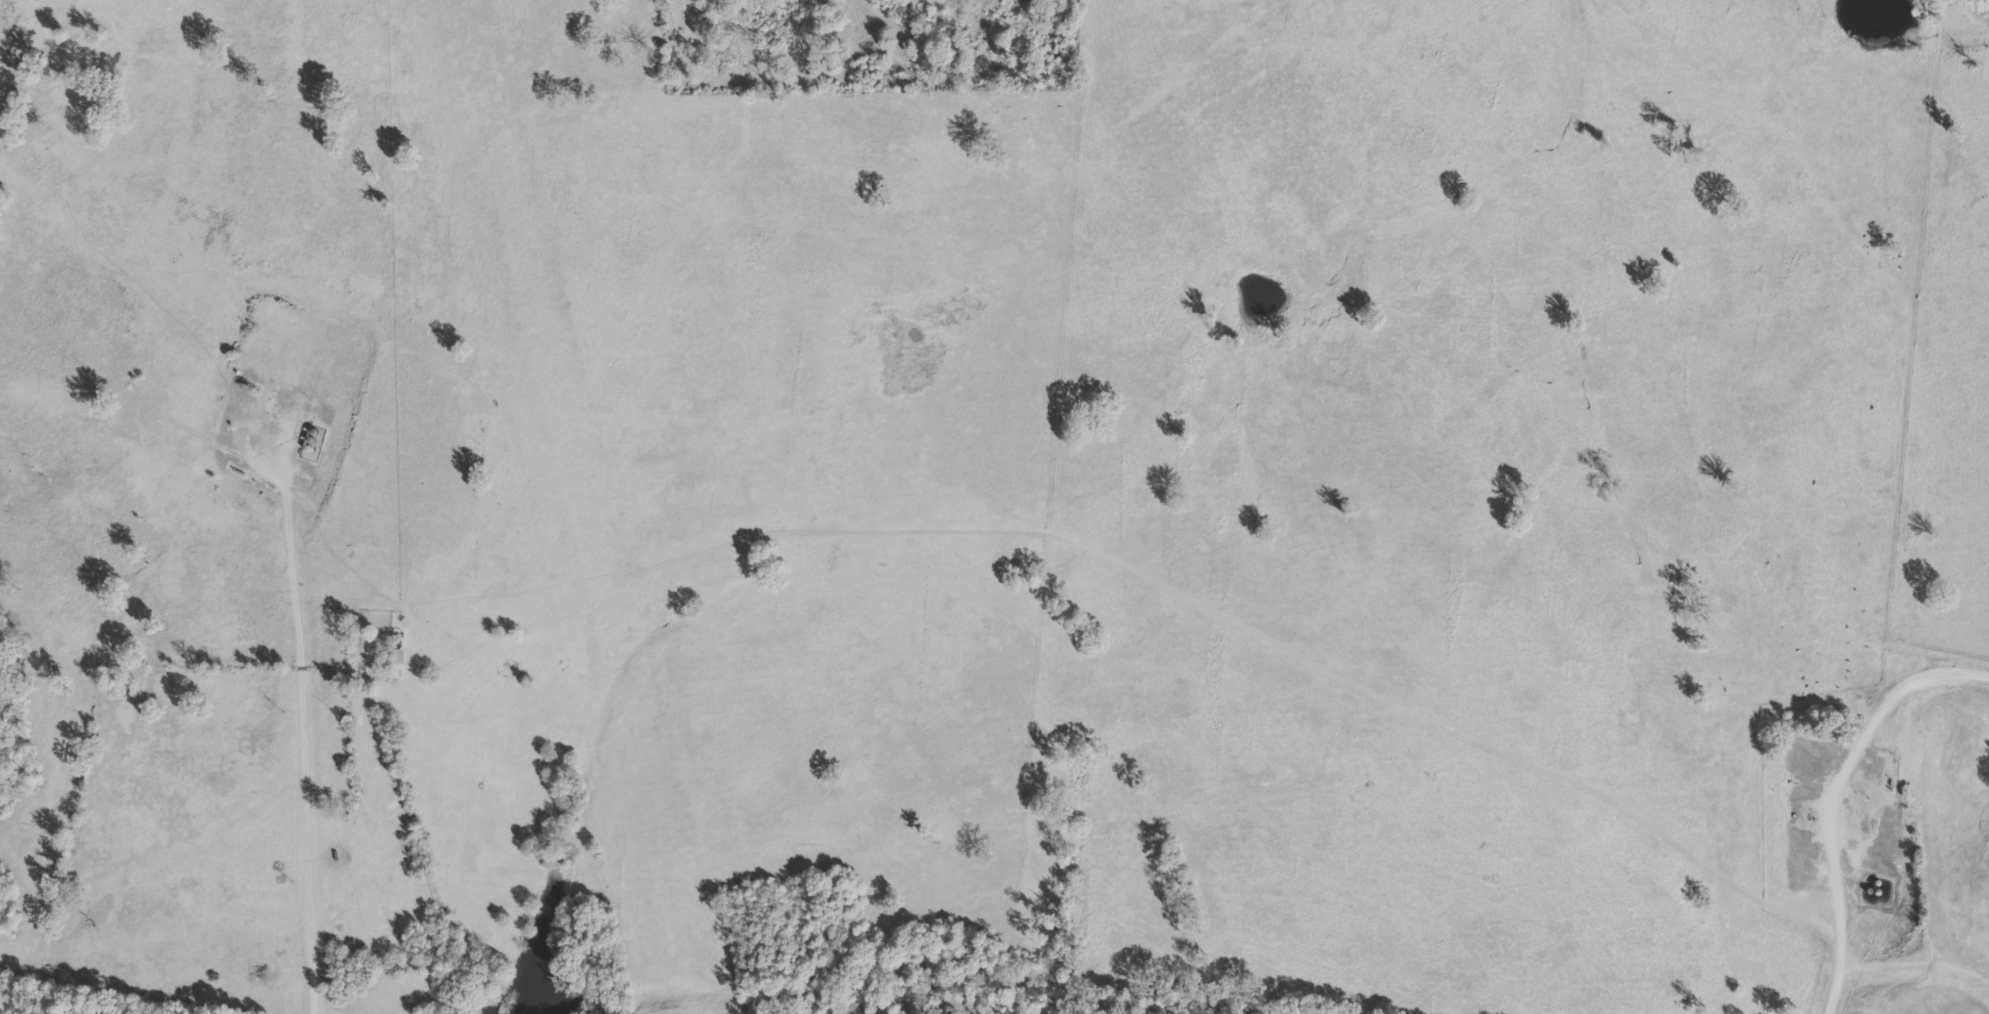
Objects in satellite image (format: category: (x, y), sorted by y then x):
road: (1914, 955)

